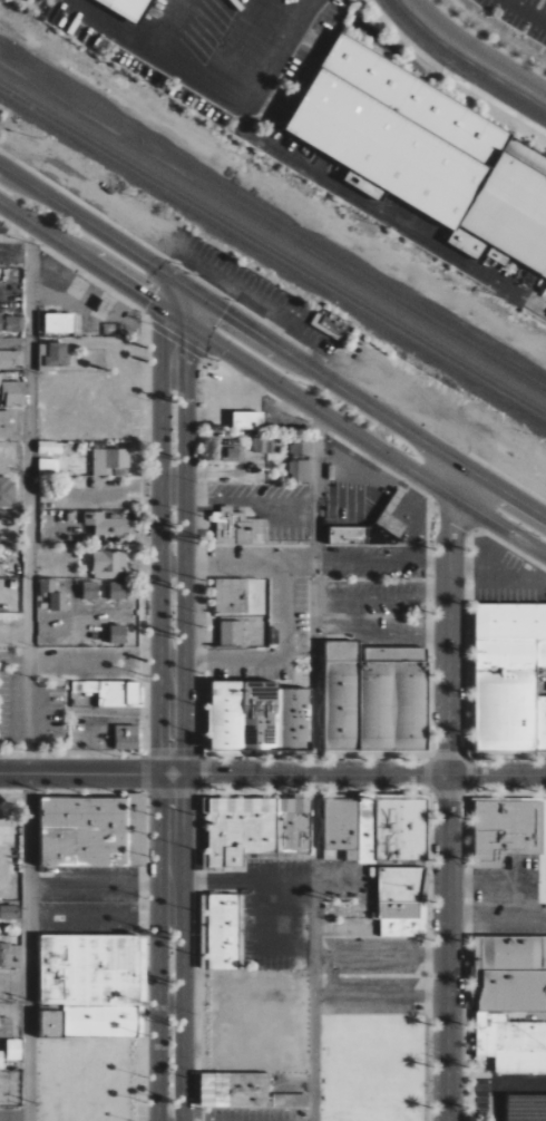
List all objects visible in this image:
building: (127, 8)
road: (527, 11)
road: (105, 25)
road: (464, 61)
road: (212, 87)
building: (426, 153)
road: (28, 194)
road: (78, 217)
railway: (273, 241)
road: (75, 251)
railway: (273, 252)
road: (111, 261)
road: (176, 290)
traffic signals: (157, 291)
road: (191, 291)
traffic signals: (150, 301)
road: (163, 309)
traffic signals: (225, 313)
road: (185, 314)
road: (206, 318)
road: (196, 322)
building: (0, 323)
building: (14, 323)
building: (59, 323)
traffic signals: (217, 323)
building: (330, 323)
road: (186, 324)
road: (168, 326)
road: (211, 340)
road: (191, 341)
traffic signals: (185, 351)
building: (53, 354)
road: (270, 358)
building: (11, 360)
building: (12, 393)
road: (320, 410)
road: (384, 416)
building: (247, 420)
building: (7, 425)
building: (266, 445)
building: (49, 448)
building: (301, 448)
building: (109, 460)
building: (48, 467)
building: (299, 470)
road: (454, 474)
road: (365, 479)
road: (440, 488)
building: (8, 491)
road: (252, 499)
road: (507, 509)
building: (106, 524)
building: (237, 526)
road: (505, 528)
building: (348, 535)
road: (162, 556)
road: (305, 562)
road: (184, 563)
building: (109, 564)
building: (47, 586)
building: (91, 591)
building: (118, 591)
building: (232, 595)
building: (58, 602)
road: (354, 614)
building: (231, 633)
building: (117, 634)
road: (282, 659)
road: (29, 671)
building: (509, 678)
building: (111, 692)
building: (374, 699)
building: (259, 717)
building: (127, 738)
road: (314, 764)
road: (85, 773)
road: (359, 773)
road: (447, 809)
building: (256, 828)
building: (376, 829)
building: (508, 831)
building: (84, 832)
road: (243, 881)
road: (100, 883)
building: (401, 903)
building: (9, 913)
road: (100, 917)
road: (497, 917)
building: (223, 932)
road: (271, 934)
road: (172, 946)
road: (380, 955)
building: (11, 956)
building: (92, 985)
road: (380, 994)
building: (510, 1002)
building: (6, 1030)
building: (14, 1050)
building: (1, 1060)
building: (234, 1090)
building: (291, 1101)

